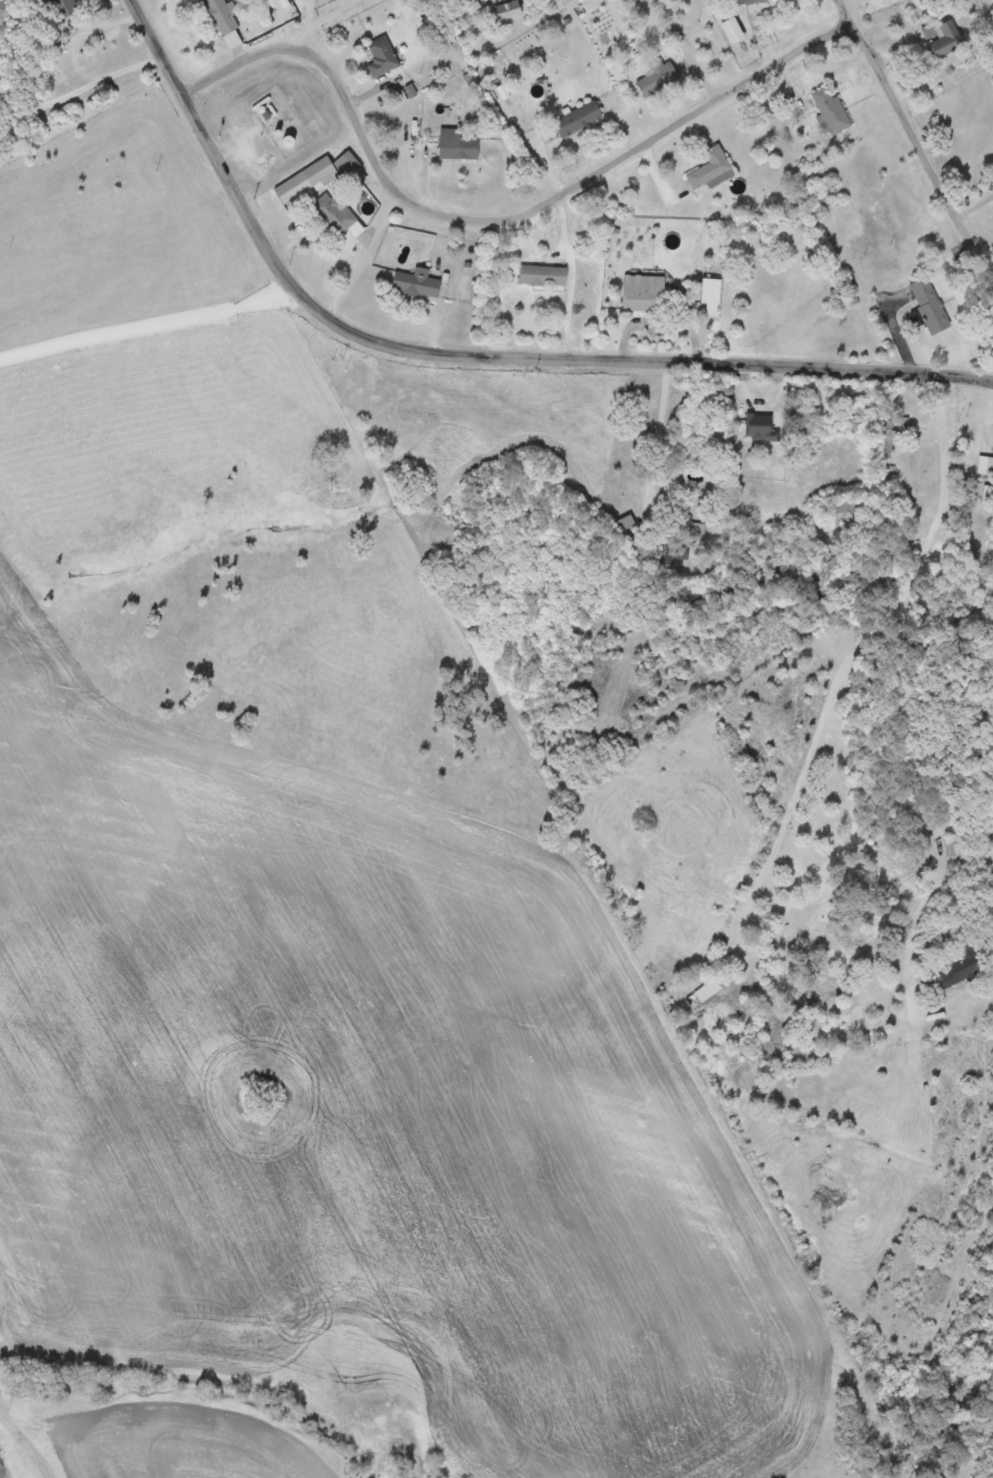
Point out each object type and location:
building: (744, 1)
building: (63, 7)
building: (507, 10)
road: (338, 19)
building: (226, 20)
building: (733, 29)
building: (947, 38)
building: (382, 55)
building: (657, 76)
building: (831, 109)
building: (577, 118)
road: (917, 137)
building: (459, 143)
building: (347, 162)
building: (712, 168)
building: (321, 171)
building: (334, 212)
road: (481, 216)
building: (543, 274)
building: (417, 282)
building: (643, 292)
building: (711, 294)
building: (930, 304)
road: (143, 334)
road: (461, 343)
building: (760, 425)
building: (626, 523)
building: (700, 529)
road: (799, 798)
building: (959, 846)
road: (940, 894)
building: (958, 967)
building: (709, 988)

